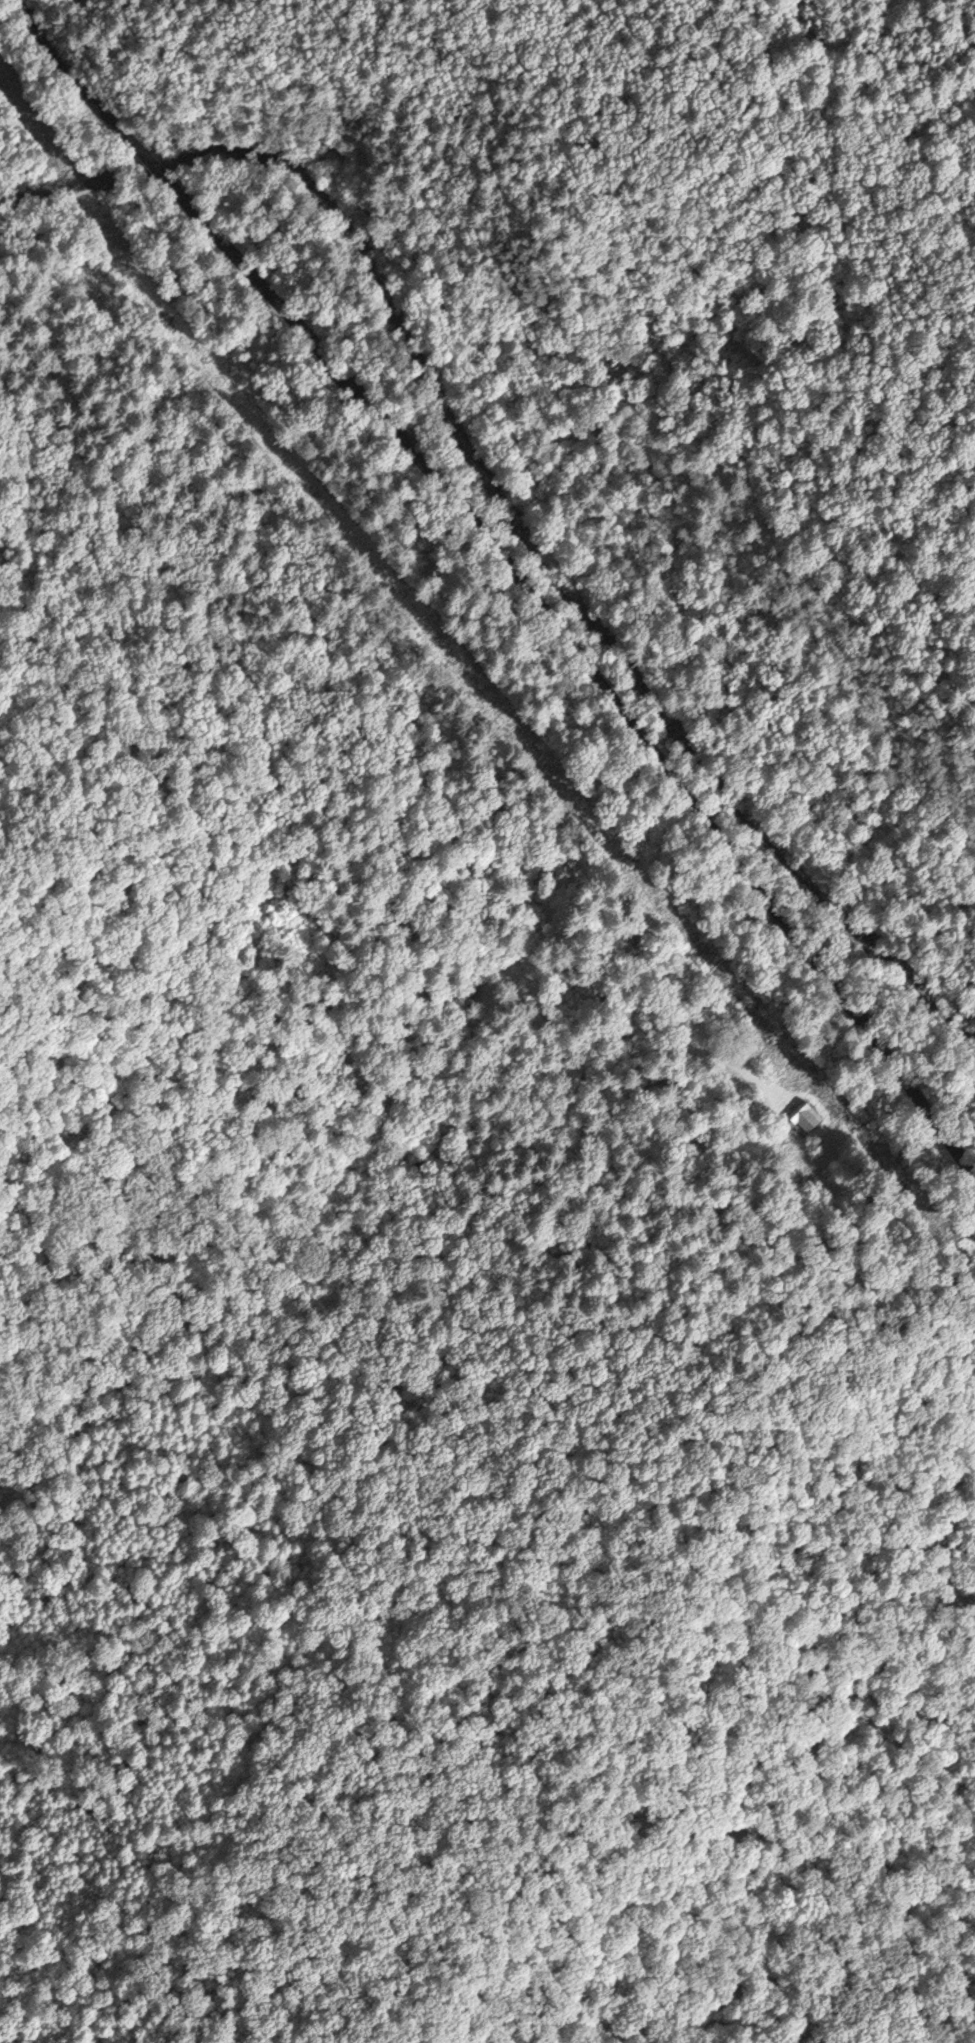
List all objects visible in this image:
road: (79, 73)
road: (154, 163)
road: (306, 331)
road: (707, 819)
building: (805, 1117)
road: (693, 1650)

